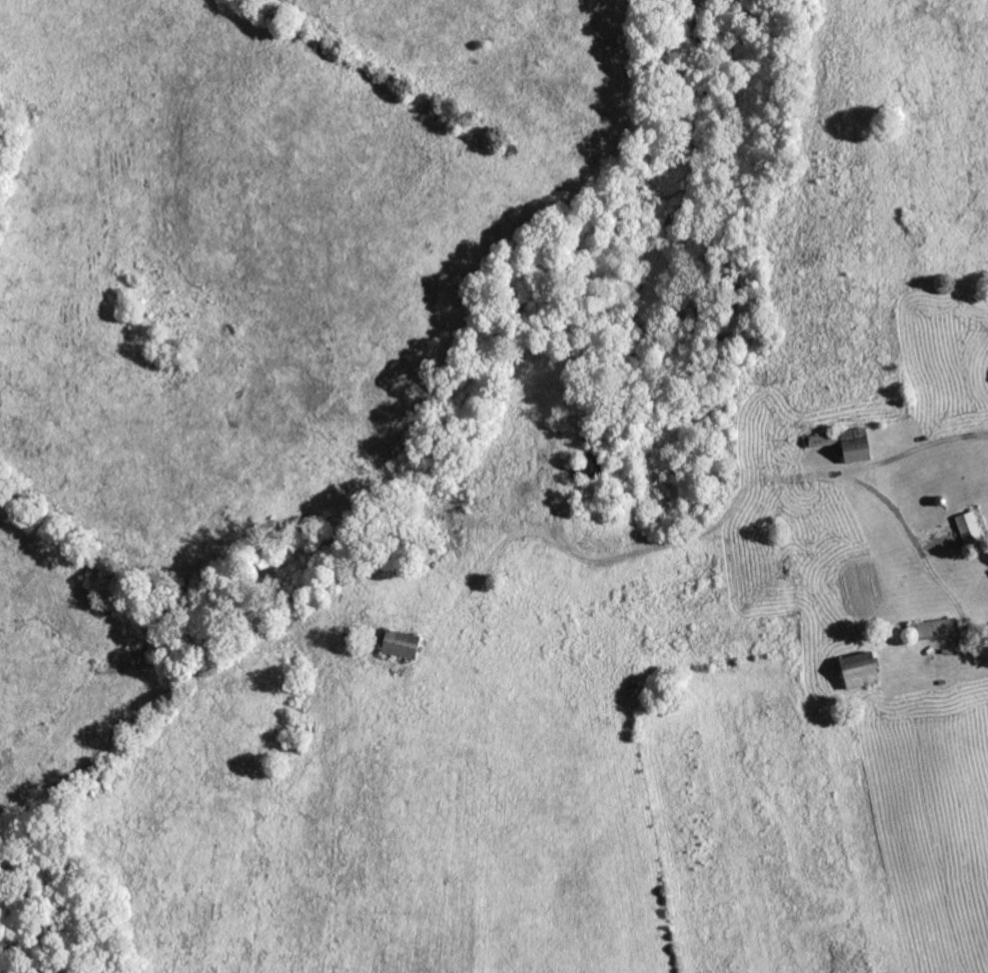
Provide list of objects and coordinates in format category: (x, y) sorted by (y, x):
building: (843, 443)
building: (968, 527)
building: (935, 628)
building: (857, 670)

